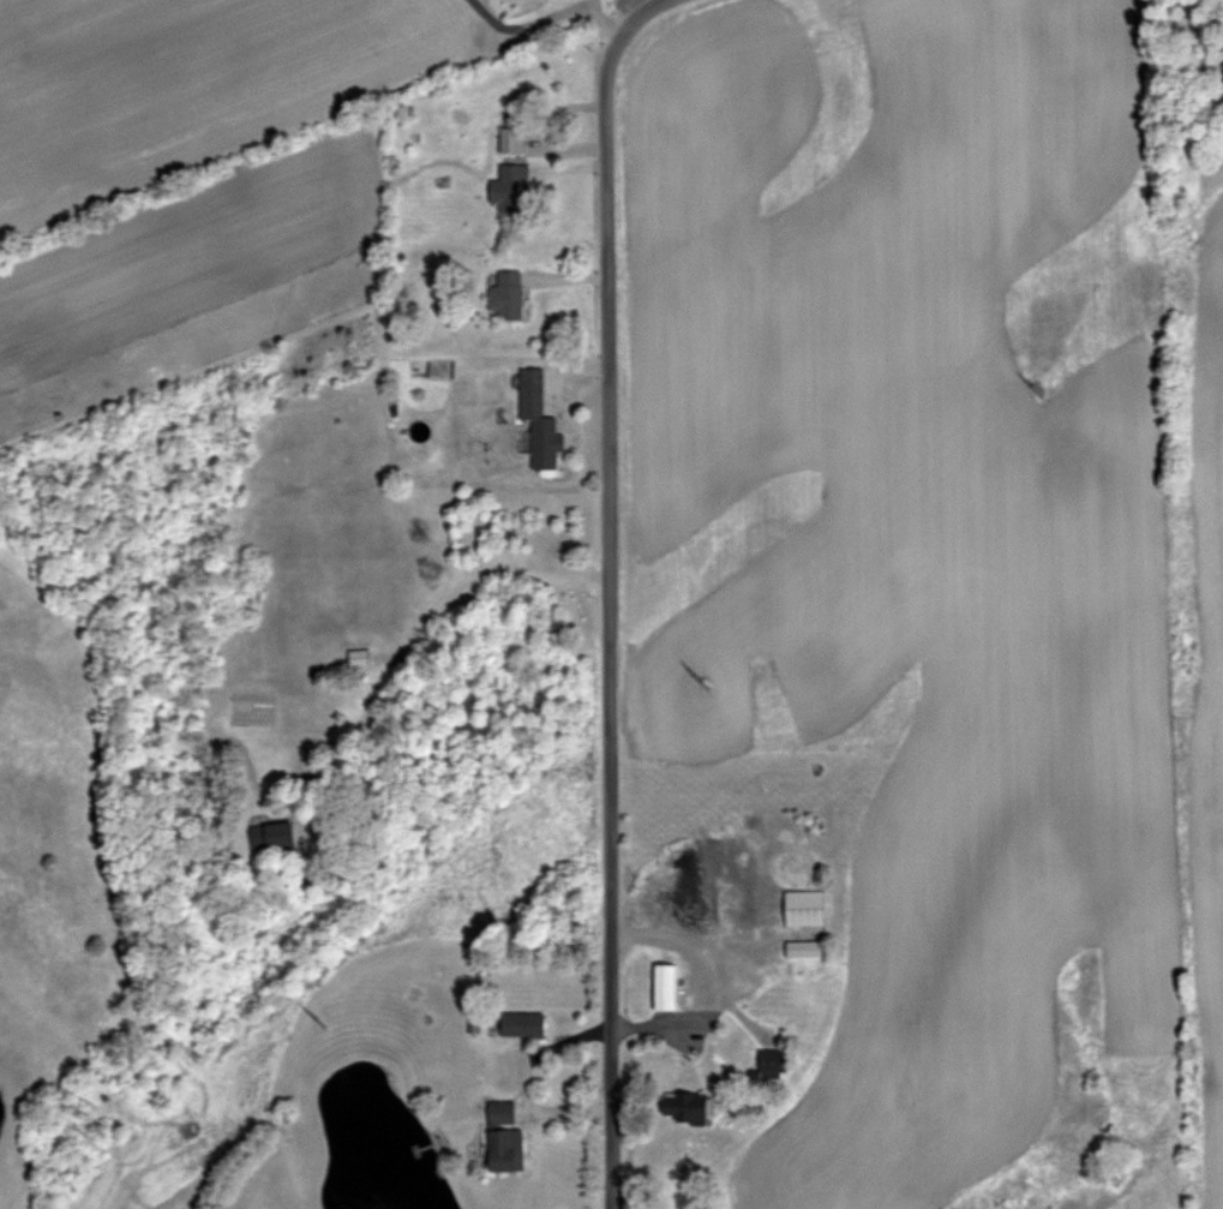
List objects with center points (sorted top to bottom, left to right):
road: (637, 14)
road: (599, 20)
building: (511, 139)
building: (511, 188)
building: (506, 294)
building: (540, 419)
road: (610, 576)
road: (410, 656)
building: (274, 834)
building: (804, 908)
road: (676, 939)
building: (804, 950)
building: (666, 987)
building: (523, 1024)
building: (774, 1063)
road: (518, 1084)
building: (687, 1107)
building: (505, 1137)
road: (606, 1163)

